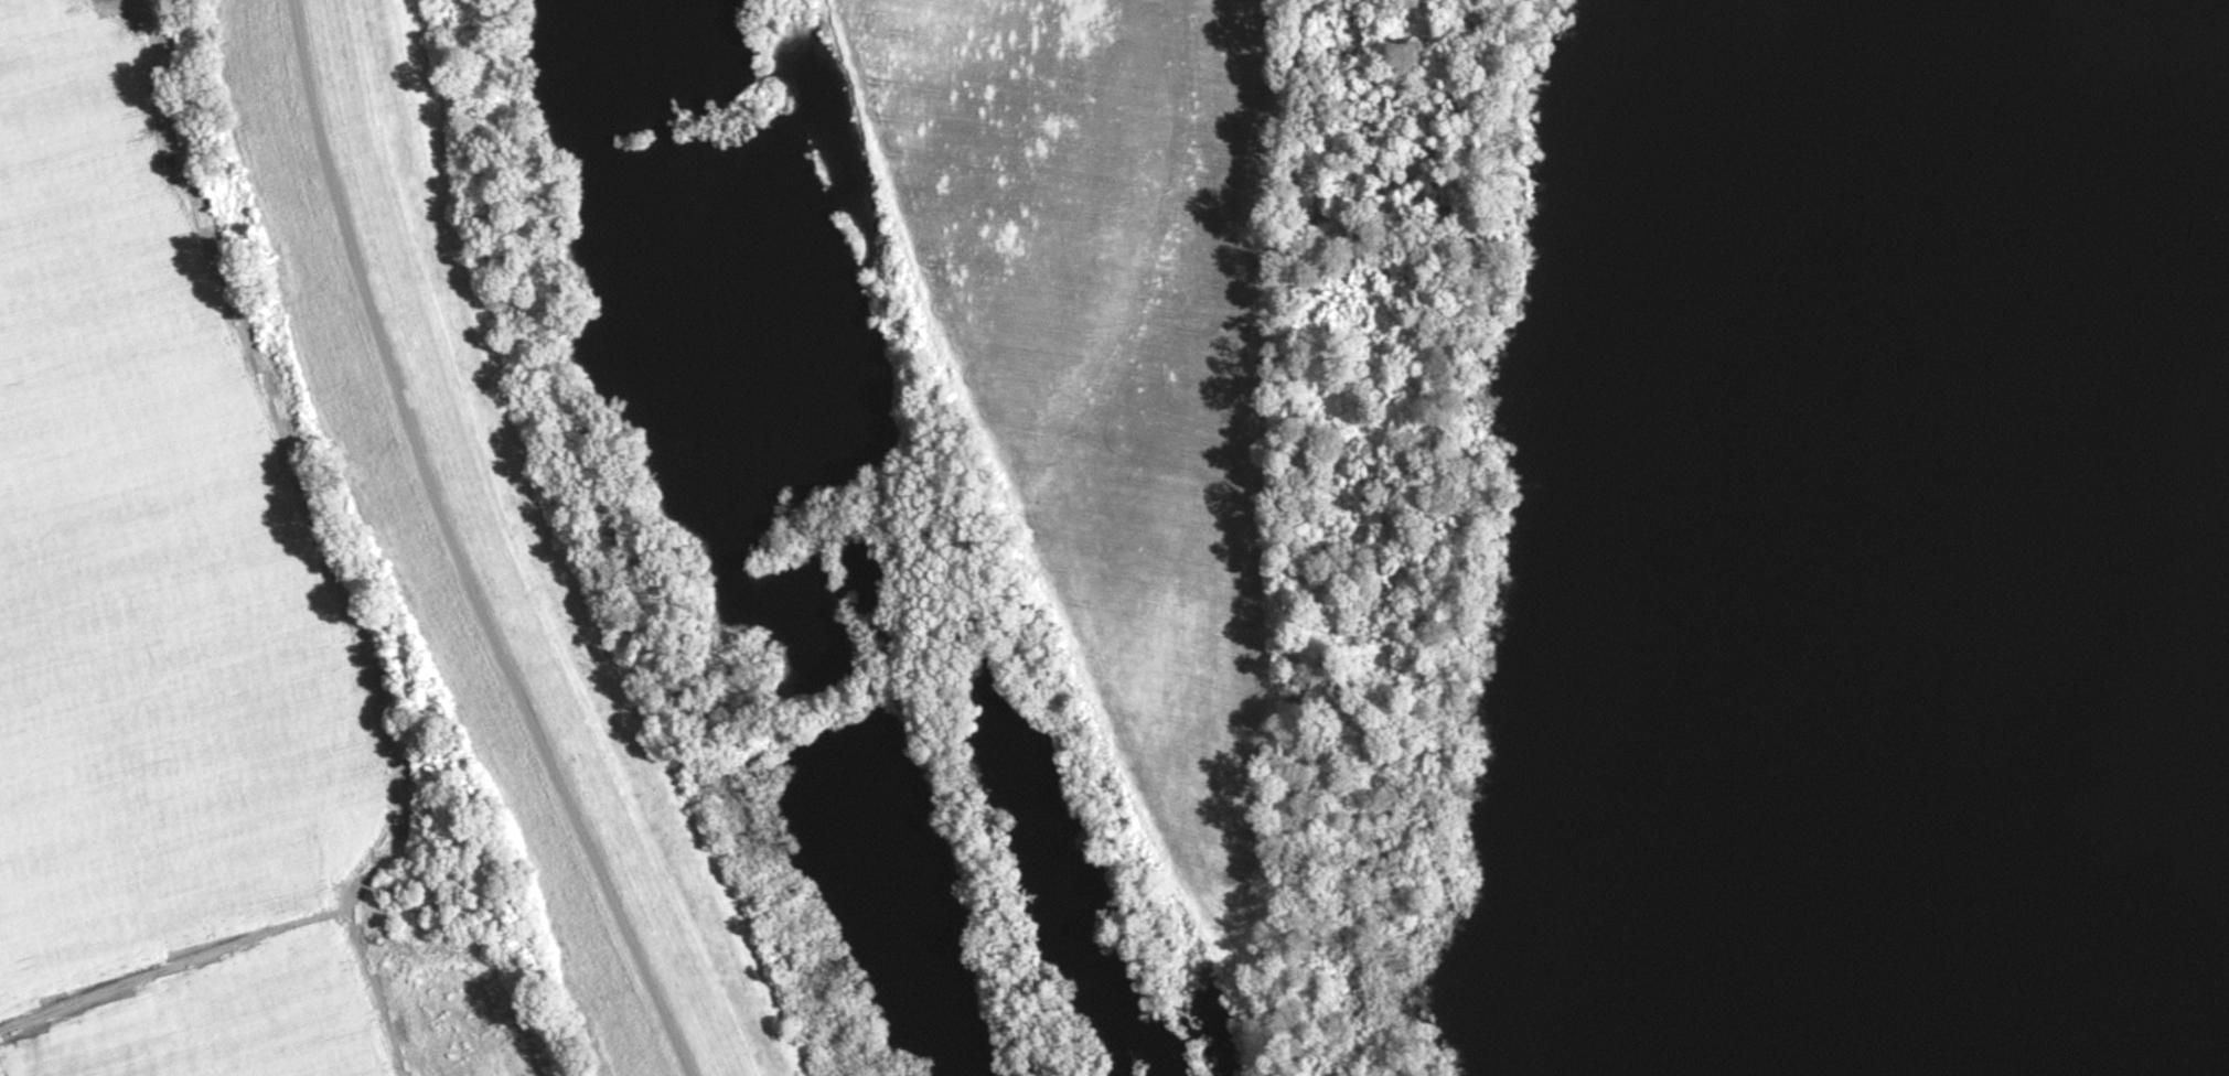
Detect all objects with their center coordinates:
road: (456, 550)

